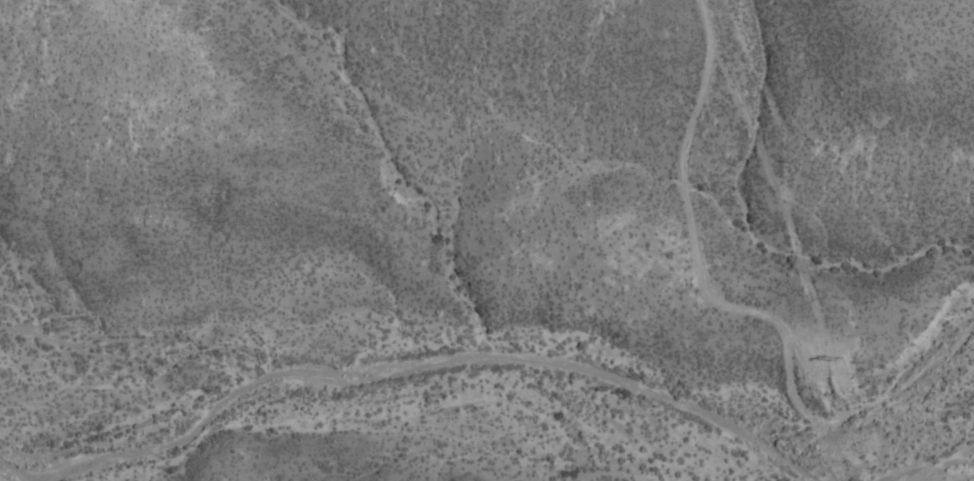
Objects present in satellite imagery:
road: (701, 275)

